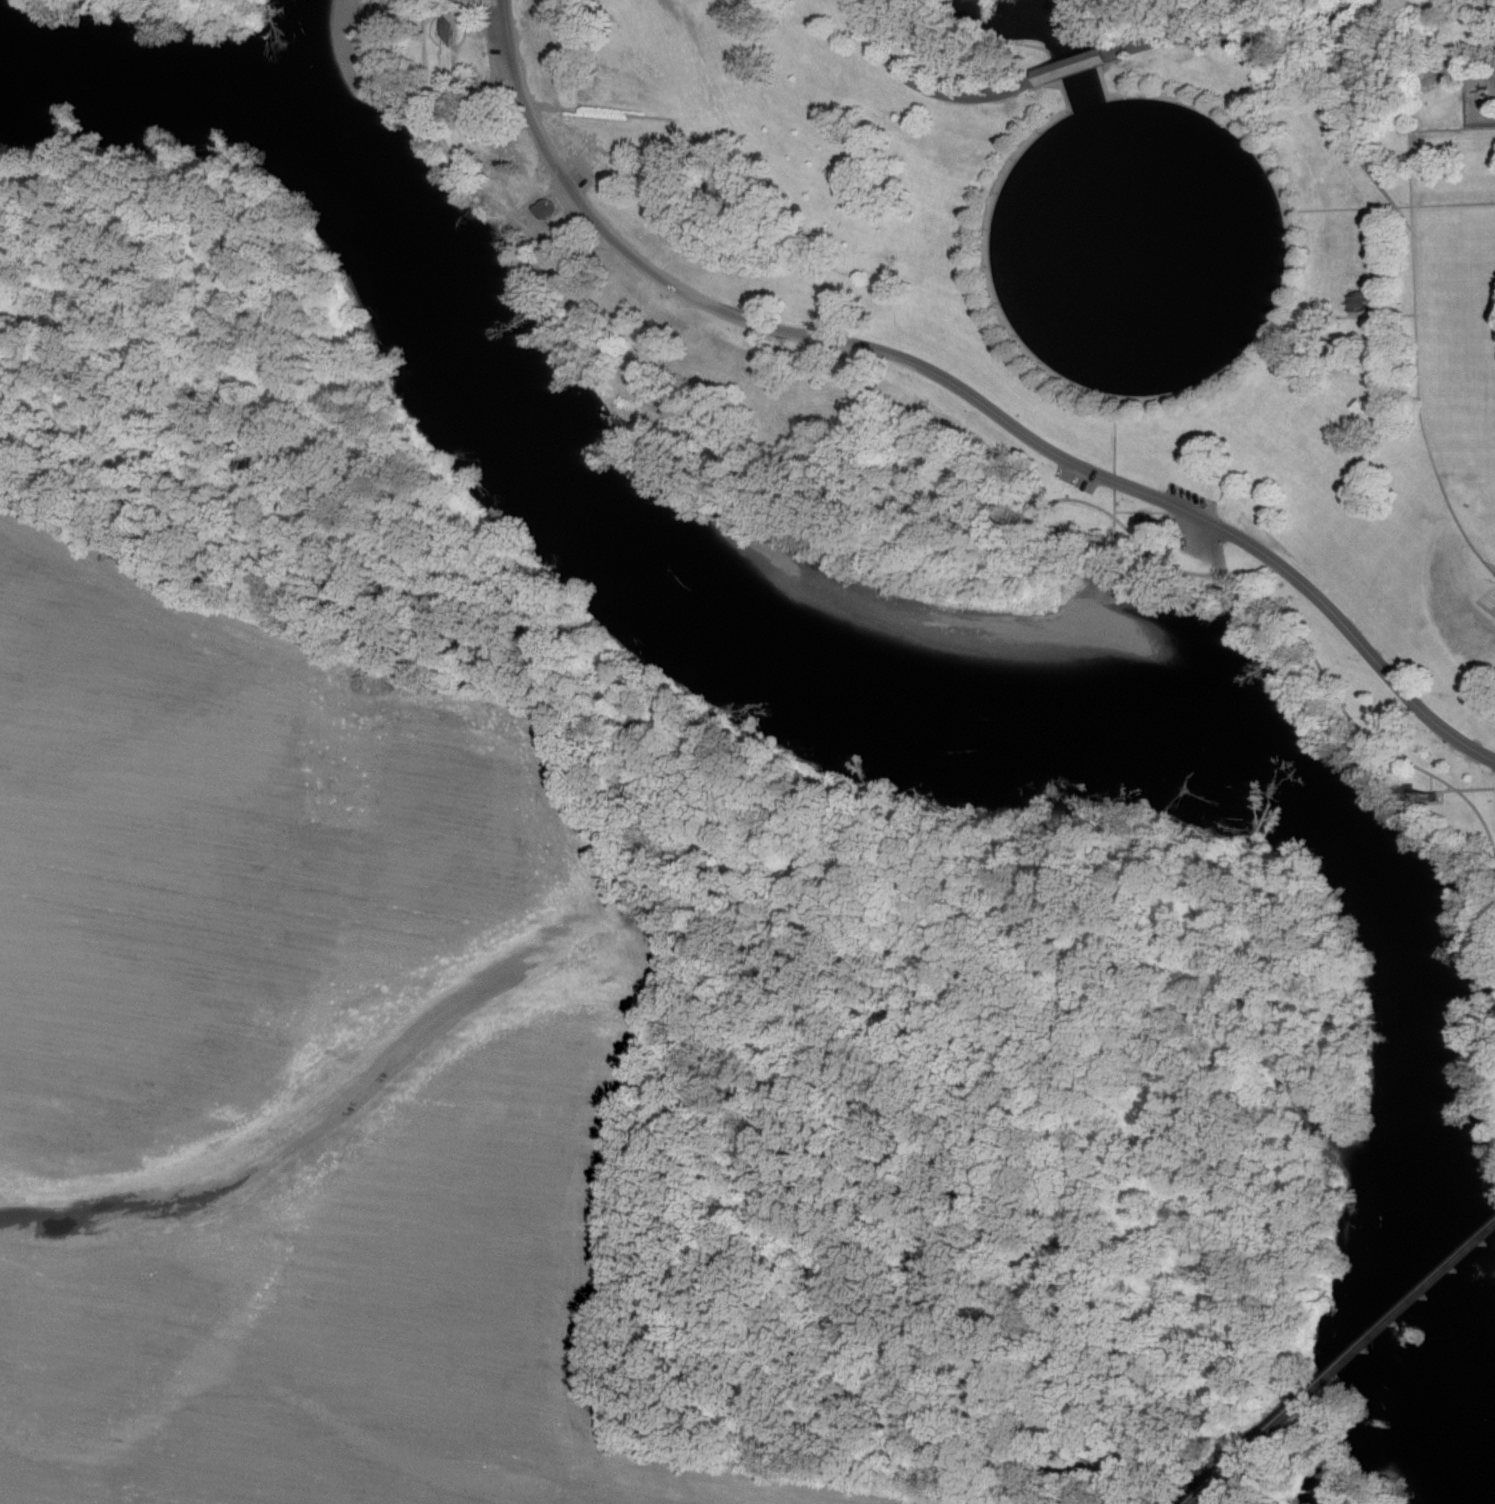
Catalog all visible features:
road: (1236, 36)
parking lot: (495, 38)
road: (1009, 40)
road: (1091, 42)
river: (331, 52)
road: (1080, 63)
building: (1082, 65)
road: (1406, 67)
road: (1462, 76)
road: (930, 85)
river: (161, 87)
road: (1255, 103)
road: (1304, 104)
road: (540, 198)
road: (1391, 205)
building: (544, 207)
park: (1046, 293)
building: (1357, 300)
road: (1371, 314)
road: (1415, 318)
road: (963, 389)
road: (1186, 390)
road: (1115, 457)
road: (894, 513)
road: (1221, 565)
river: (1063, 668)
road: (1457, 789)
railway: (1371, 1340)
railway: (1218, 1478)

